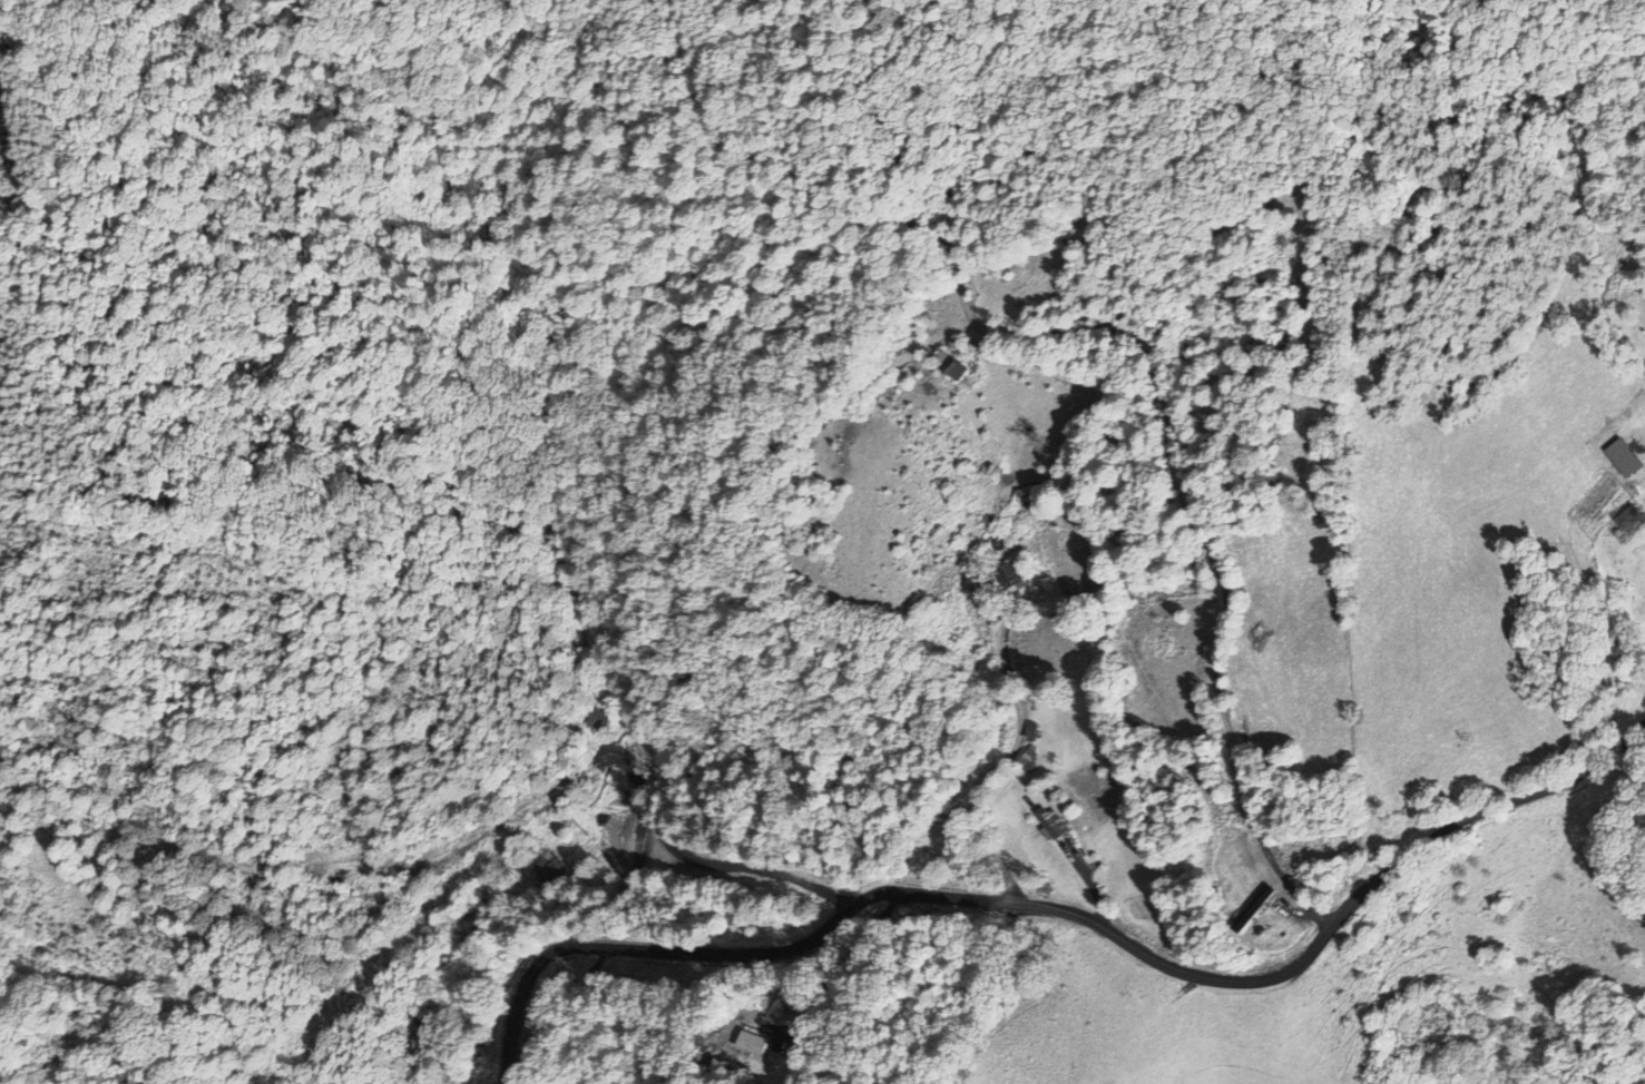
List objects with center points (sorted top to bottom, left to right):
road: (989, 333)
building: (948, 364)
road: (894, 365)
building: (1027, 493)
building: (1625, 523)
building: (1008, 578)
building: (591, 718)
road: (942, 782)
building: (1049, 824)
building: (851, 866)
building: (546, 868)
road: (1065, 910)

